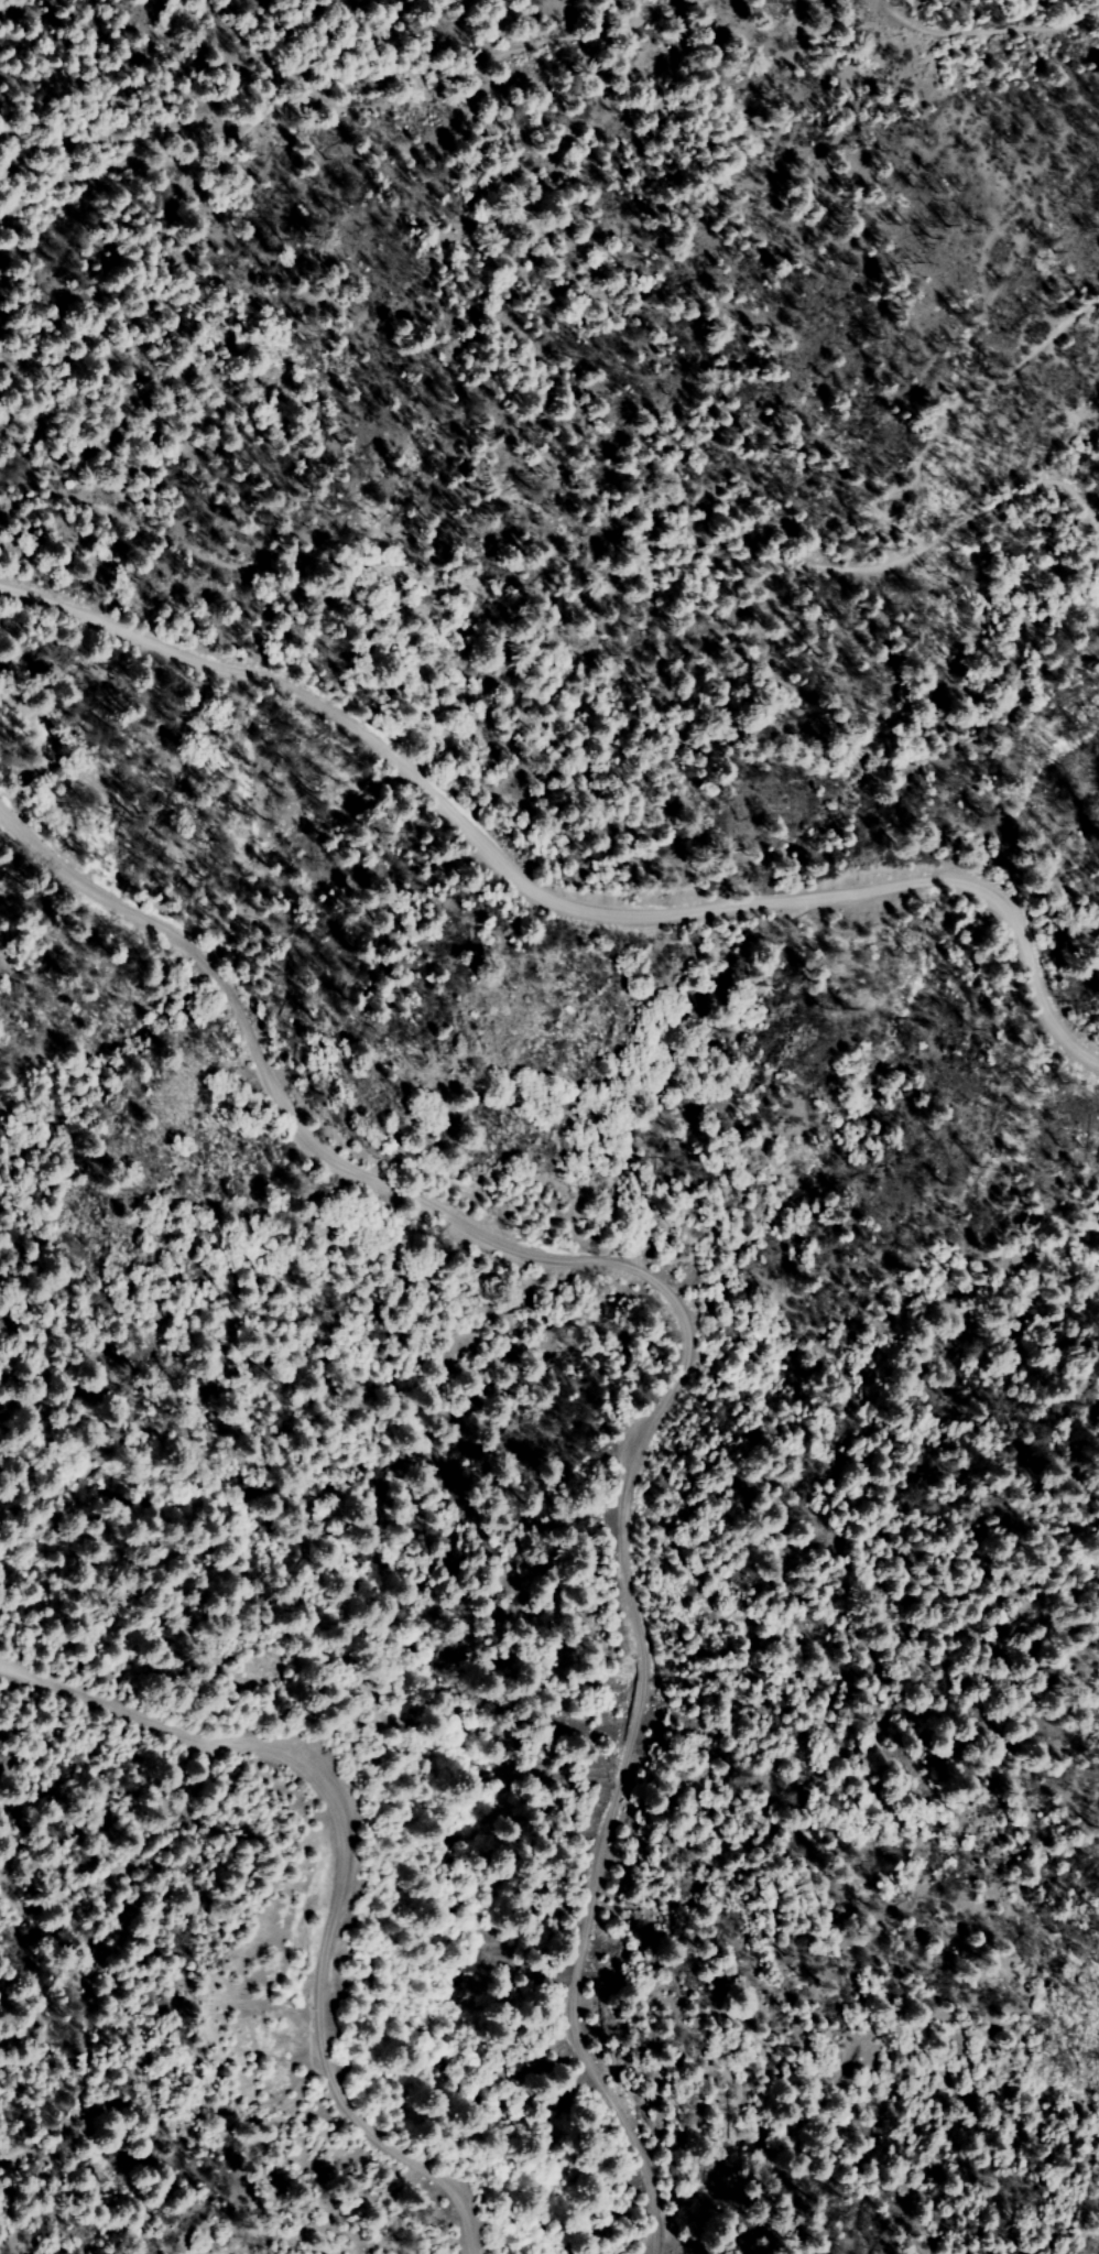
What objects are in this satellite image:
road: (556, 900)
road: (694, 1348)
road: (340, 1879)

